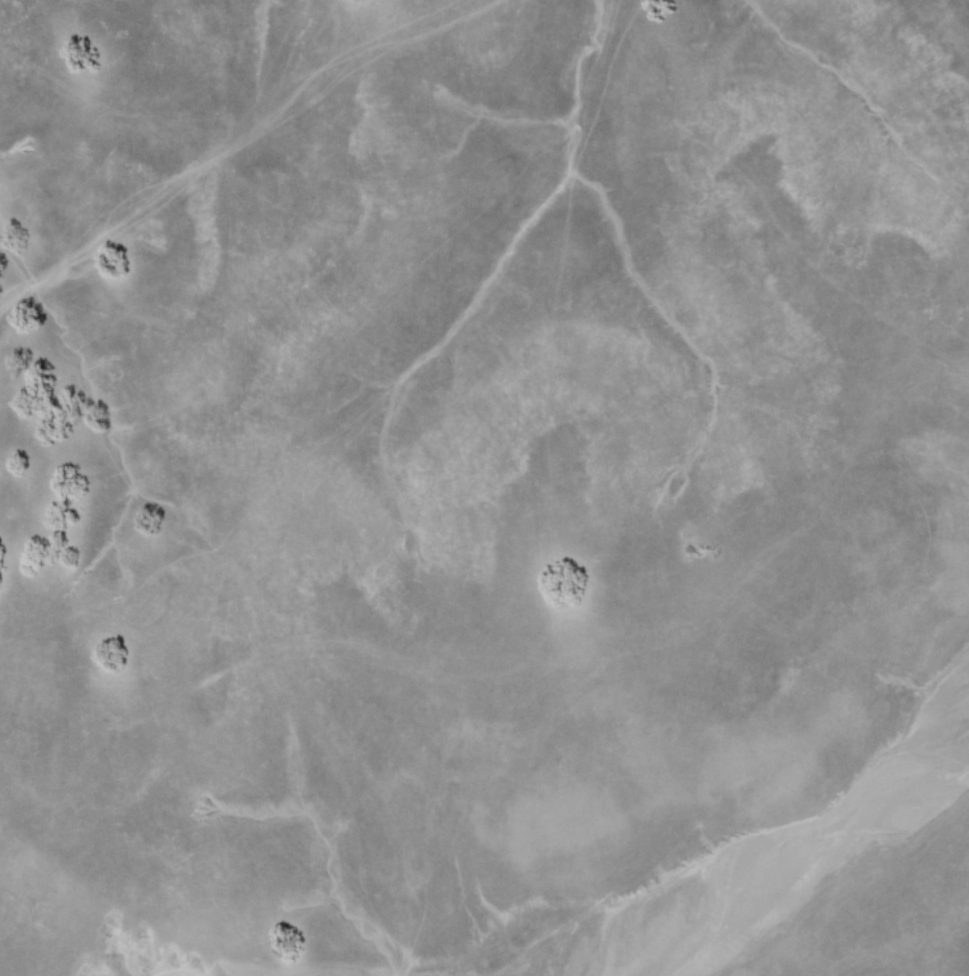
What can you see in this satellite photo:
river: (803, 855)

